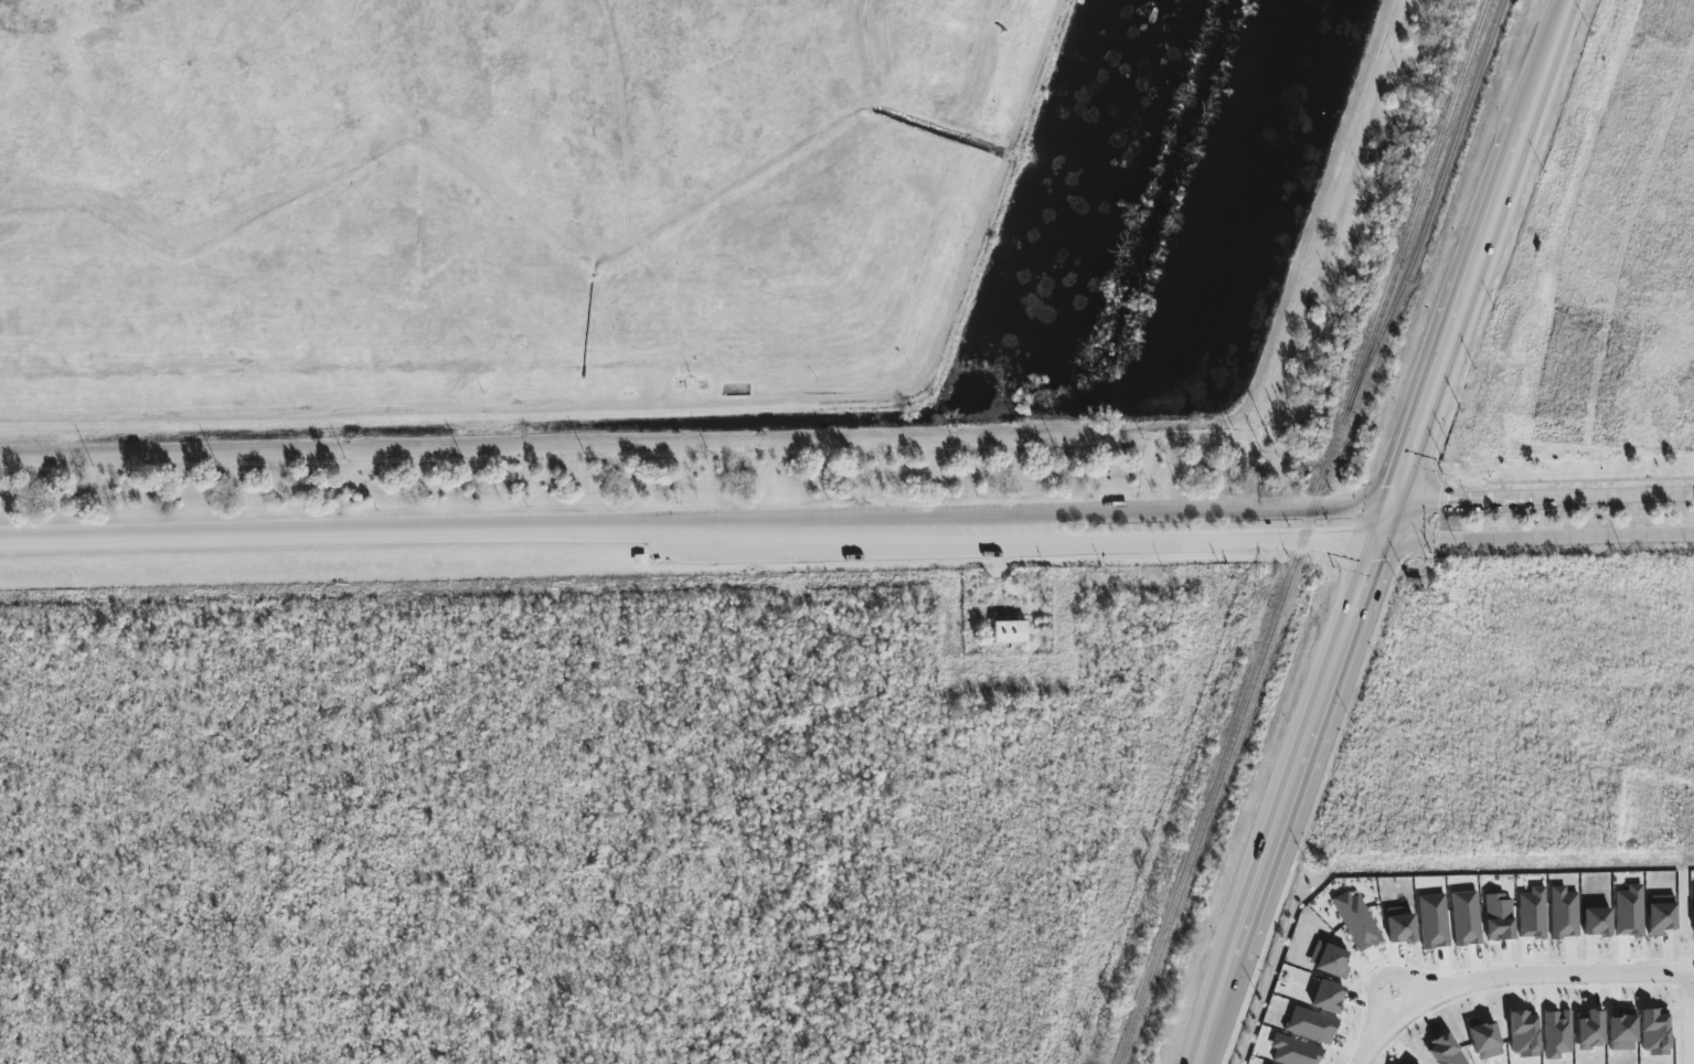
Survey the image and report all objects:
railway: (1437, 192)
landfill: (498, 208)
road: (1594, 496)
road: (1439, 502)
traffic signals: (1389, 523)
railway: (1304, 531)
road: (1386, 531)
road: (694, 535)
road: (1539, 539)
building: (1009, 631)
building: (1693, 898)
building: (1630, 912)
building: (1564, 913)
building: (1533, 914)
building: (1661, 915)
building: (1499, 917)
building: (1466, 918)
building: (1356, 922)
building: (1434, 922)
building: (1597, 922)
building: (1400, 926)
building: (1329, 960)
road: (1535, 971)
building: (1329, 997)
road: (1354, 1023)
building: (1311, 1025)
building: (1622, 1030)
building: (1590, 1031)
building: (1654, 1032)
building: (1557, 1034)
building: (1484, 1040)
building: (1295, 1051)
building: (1445, 1051)
building: (1406, 1063)

